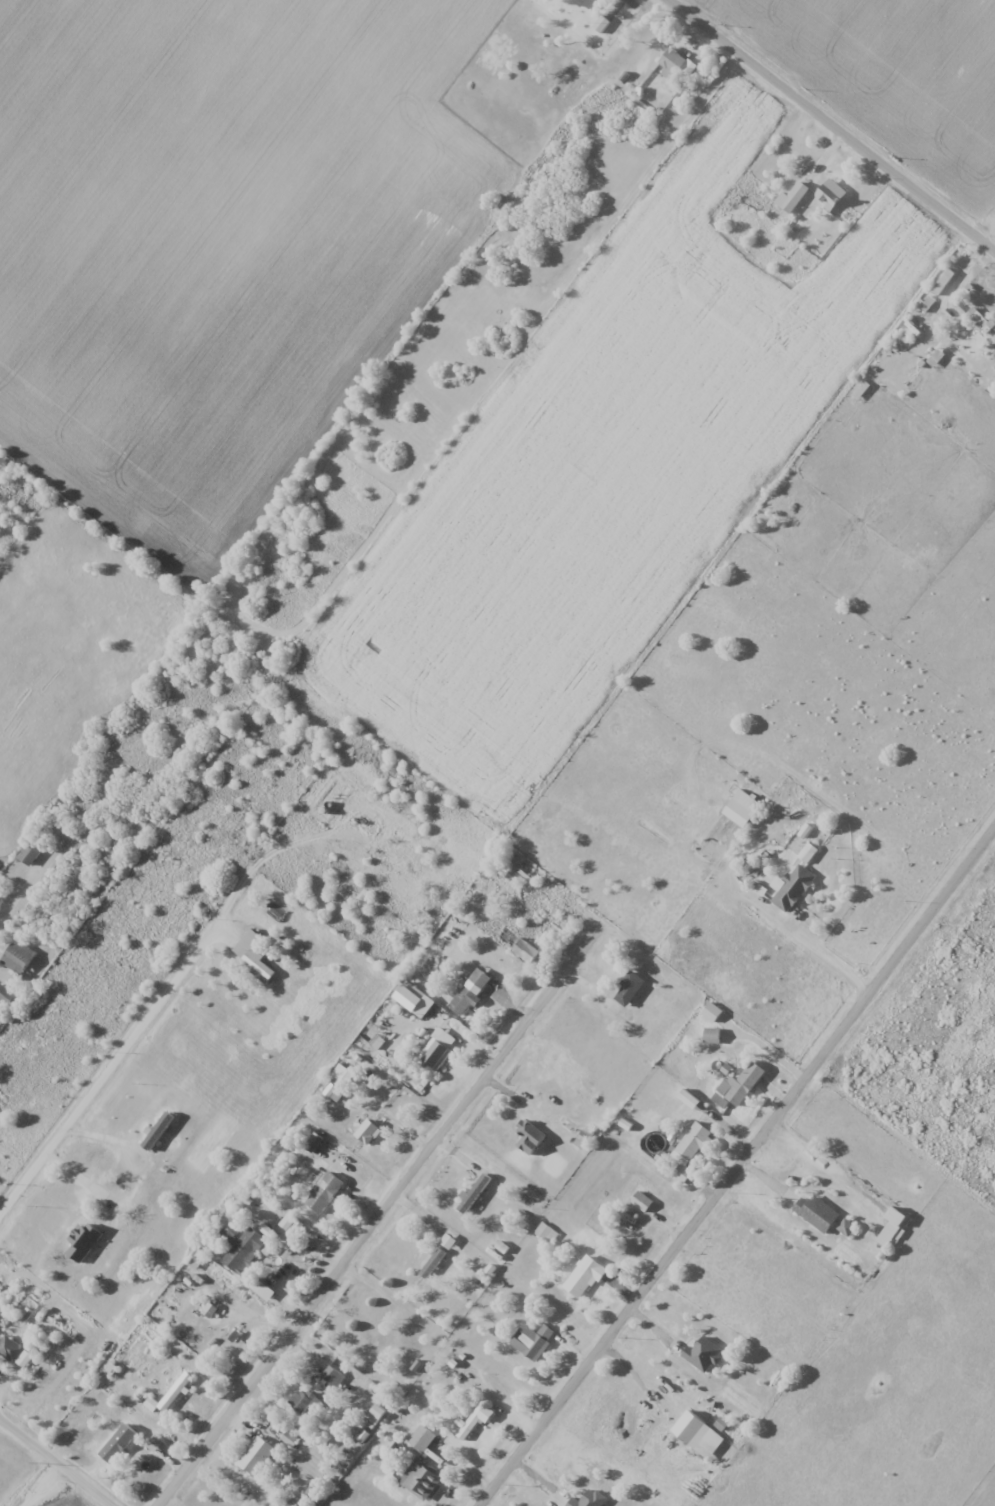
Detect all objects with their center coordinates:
building: (588, 3)
building: (600, 24)
building: (672, 64)
road: (826, 129)
building: (831, 194)
building: (792, 197)
building: (943, 282)
building: (980, 320)
building: (742, 807)
building: (801, 847)
building: (30, 854)
building: (793, 887)
building: (526, 950)
building: (252, 955)
building: (18, 957)
building: (630, 988)
building: (470, 992)
building: (6, 995)
road: (165, 996)
building: (407, 996)
building: (712, 1011)
building: (437, 1054)
building: (742, 1083)
building: (367, 1131)
building: (530, 1136)
building: (691, 1149)
road: (737, 1173)
building: (644, 1182)
building: (324, 1191)
road: (382, 1213)
building: (817, 1213)
building: (623, 1222)
building: (546, 1233)
building: (889, 1233)
building: (246, 1250)
building: (430, 1267)
building: (584, 1277)
building: (374, 1336)
building: (532, 1340)
building: (15, 1352)
building: (699, 1352)
building: (332, 1377)
building: (175, 1391)
building: (303, 1400)
building: (474, 1422)
building: (421, 1438)
building: (290, 1439)
building: (709, 1444)
building: (121, 1456)
building: (256, 1456)
road: (62, 1459)
building: (421, 1479)
building: (589, 1500)

